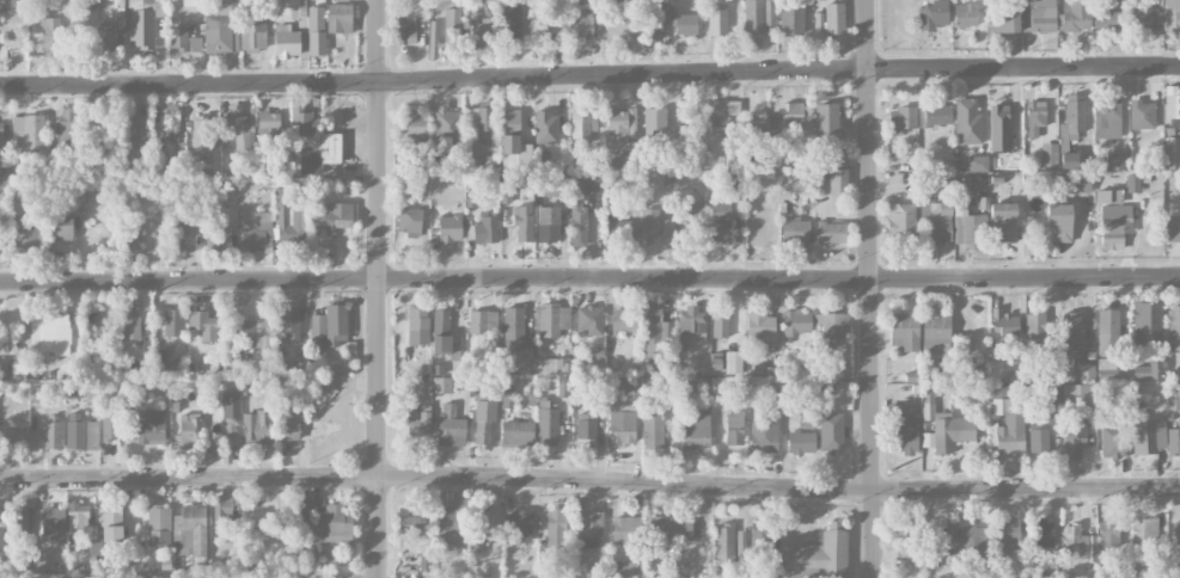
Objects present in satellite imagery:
building: (543, 2)
building: (12, 5)
building: (296, 8)
building: (757, 14)
building: (1172, 14)
building: (931, 16)
building: (964, 16)
building: (1038, 16)
building: (1075, 16)
building: (340, 18)
building: (791, 18)
building: (831, 18)
building: (1143, 18)
building: (717, 19)
building: (1106, 19)
building: (137, 20)
building: (619, 20)
building: (653, 20)
building: (1003, 20)
building: (548, 24)
building: (685, 24)
building: (585, 25)
building: (452, 26)
building: (219, 30)
building: (252, 30)
building: (316, 30)
building: (482, 30)
building: (47, 31)
building: (405, 31)
building: (103, 39)
building: (183, 39)
building: (287, 42)
road: (589, 76)
building: (1172, 103)
building: (721, 113)
building: (937, 113)
building: (1141, 115)
building: (96, 116)
building: (122, 116)
building: (795, 116)
building: (921, 116)
building: (1034, 117)
building: (1072, 117)
building: (1106, 118)
building: (900, 119)
building: (171, 121)
building: (301, 121)
building: (481, 122)
building: (654, 122)
building: (967, 122)
building: (763, 123)
building: (827, 123)
building: (447, 124)
building: (582, 124)
building: (619, 124)
building: (68, 127)
building: (237, 127)
building: (267, 127)
building: (415, 127)
building: (546, 127)
building: (998, 128)
building: (509, 130)
building: (27, 131)
building: (202, 135)
building: (802, 149)
building: (320, 153)
building: (1170, 153)
building: (1047, 156)
building: (1068, 160)
building: (1115, 160)
building: (977, 162)
building: (489, 164)
building: (728, 180)
building: (838, 182)
building: (1082, 183)
building: (555, 185)
building: (1107, 196)
building: (686, 207)
building: (581, 209)
building: (331, 217)
building: (288, 219)
building: (936, 219)
building: (409, 220)
building: (900, 220)
building: (720, 221)
building: (1059, 221)
building: (522, 222)
building: (1002, 222)
building: (60, 225)
building: (548, 225)
building: (649, 225)
building: (1114, 225)
building: (620, 227)
building: (666, 227)
building: (450, 228)
building: (1172, 228)
building: (794, 229)
building: (485, 230)
building: (830, 232)
building: (965, 233)
building: (258, 234)
building: (183, 235)
building: (24, 236)
building: (132, 236)
building: (218, 238)
road: (379, 238)
road: (589, 278)
road: (870, 288)
building: (417, 316)
building: (552, 319)
building: (588, 319)
building: (624, 320)
building: (128, 321)
building: (173, 321)
building: (655, 321)
building: (796, 321)
building: (1147, 321)
building: (482, 322)
building: (293, 324)
building: (336, 324)
building: (690, 324)
building: (1005, 324)
building: (203, 325)
building: (720, 325)
building: (760, 325)
building: (94, 327)
building: (513, 327)
building: (1174, 327)
building: (832, 328)
building: (50, 332)
building: (904, 332)
building: (1035, 332)
building: (1107, 332)
building: (252, 334)
building: (318, 334)
building: (444, 336)
building: (936, 336)
building: (1072, 336)
building: (296, 362)
building: (733, 362)
building: (552, 365)
building: (1145, 370)
building: (1050, 374)
building: (1109, 374)
building: (441, 385)
building: (563, 387)
building: (1173, 389)
building: (1001, 393)
building: (1077, 393)
building: (39, 394)
building: (507, 395)
building: (1051, 404)
building: (231, 405)
building: (484, 422)
building: (289, 423)
building: (451, 423)
building: (944, 423)
building: (418, 424)
building: (546, 424)
building: (622, 424)
building: (109, 425)
building: (146, 425)
building: (586, 425)
building: (256, 426)
building: (905, 426)
building: (231, 428)
building: (734, 428)
building: (189, 430)
building: (652, 430)
building: (695, 430)
building: (81, 432)
building: (516, 432)
building: (831, 432)
building: (1010, 433)
building: (14, 435)
building: (53, 435)
building: (763, 436)
building: (1148, 436)
building: (1074, 437)
building: (1173, 439)
building: (1038, 441)
building: (801, 442)
building: (1113, 442)
road: (589, 480)
building: (222, 509)
building: (78, 516)
building: (409, 516)
building: (20, 517)
building: (302, 521)
building: (53, 522)
building: (111, 522)
building: (452, 522)
building: (281, 523)
building: (481, 523)
building: (519, 523)
building: (335, 524)
building: (159, 525)
building: (1043, 527)
road: (378, 528)
building: (588, 528)
building: (556, 529)
building: (625, 529)
building: (670, 529)
building: (950, 529)
building: (1005, 531)
building: (1144, 531)
building: (1107, 534)
building: (1176, 536)
building: (972, 540)
building: (728, 545)
building: (1077, 545)
building: (764, 546)
building: (904, 546)
building: (94, 547)
building: (819, 555)
building: (622, 568)

